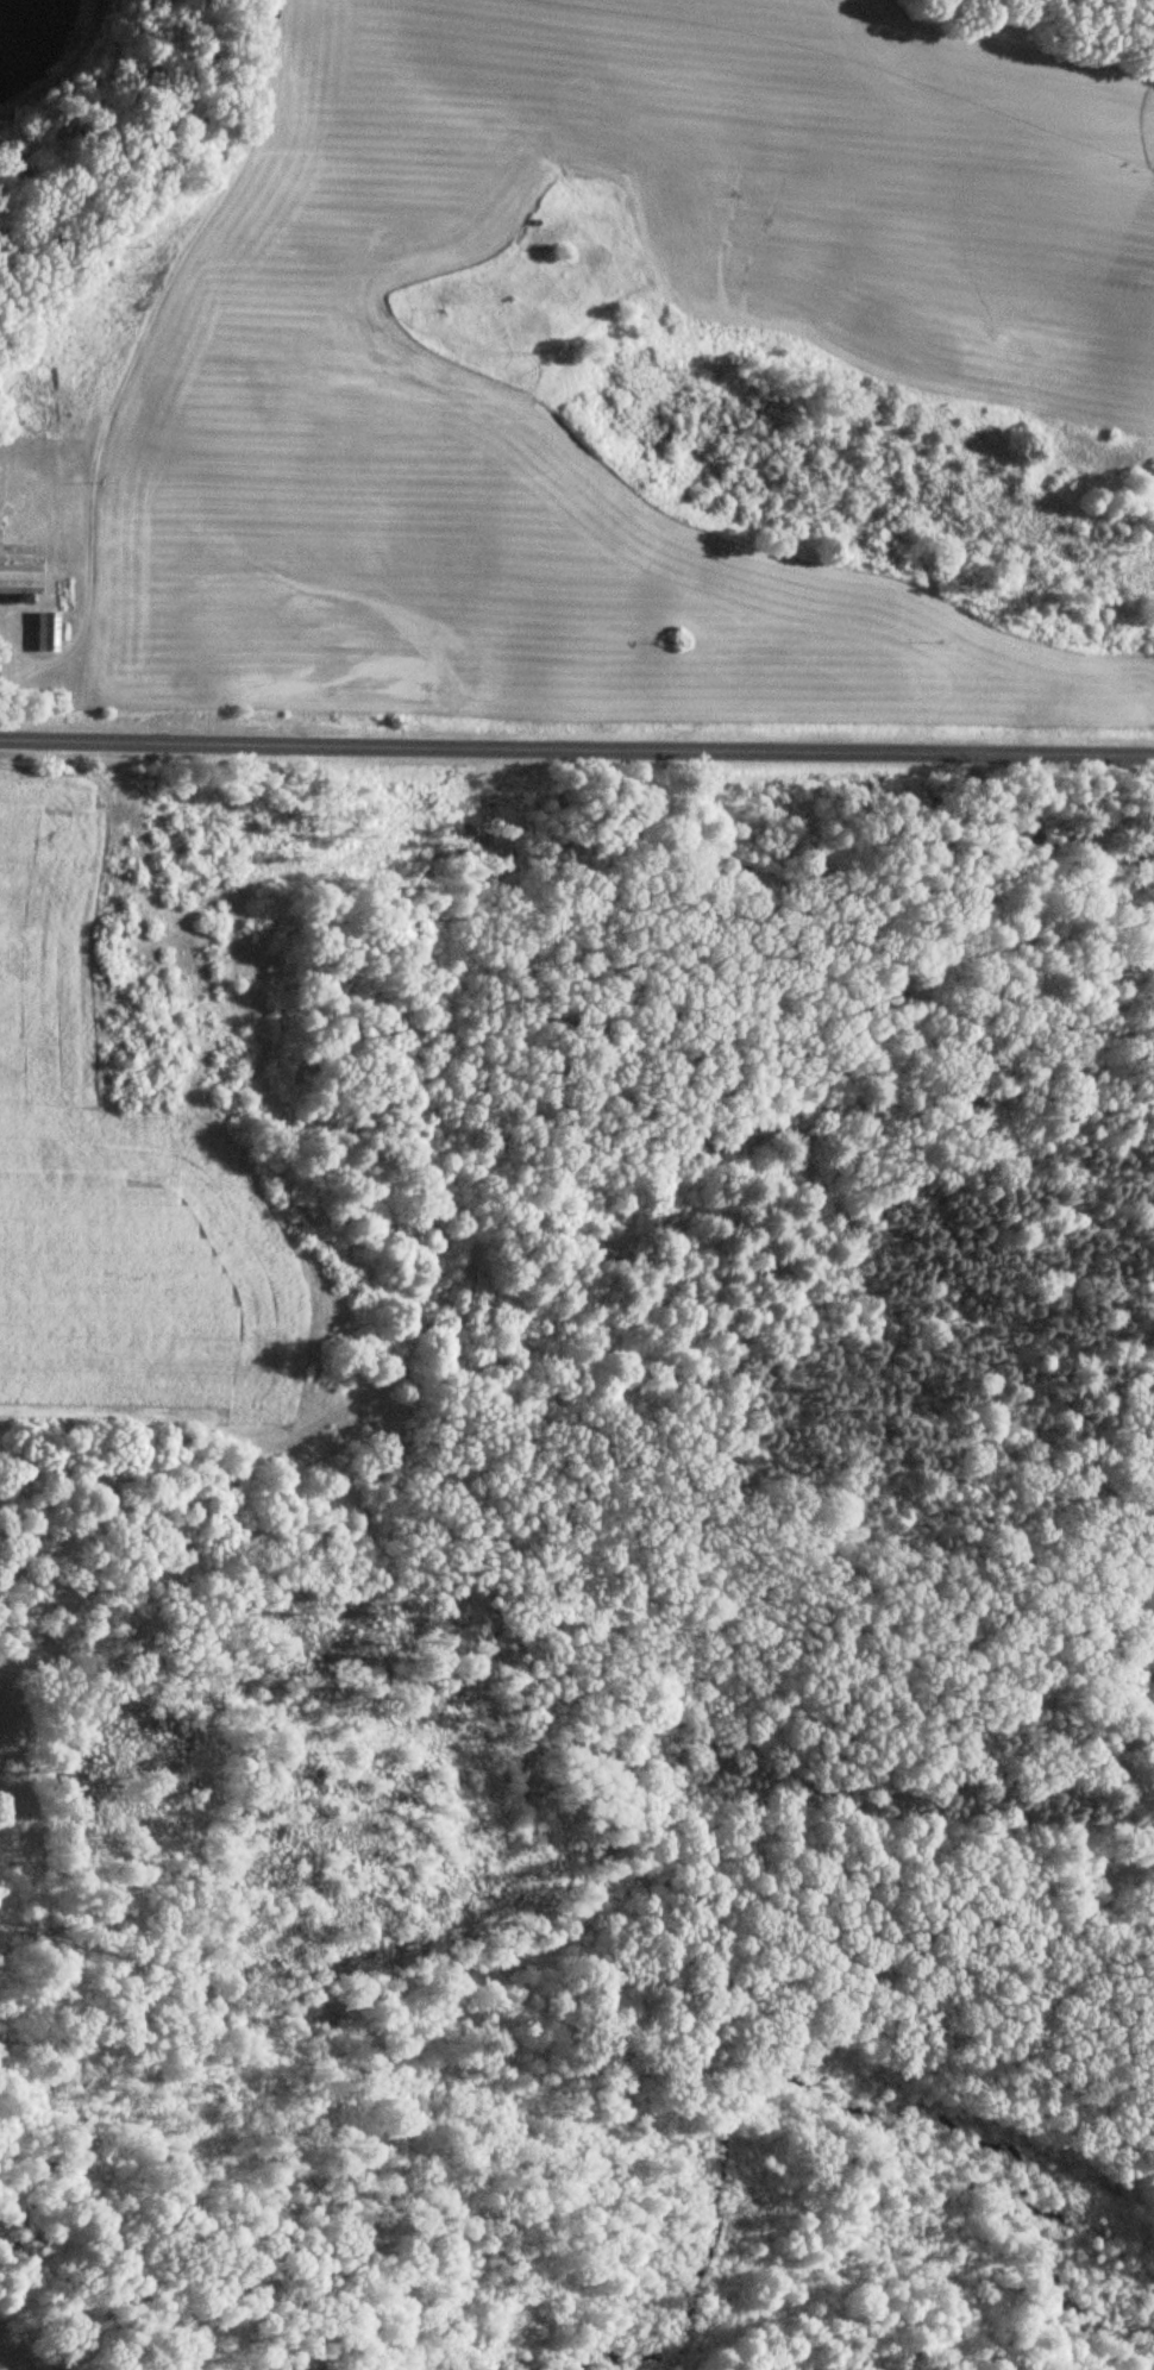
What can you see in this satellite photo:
road: (131, 363)
crop: (300, 372)
building: (14, 582)
building: (42, 634)
road: (2, 697)
road: (576, 748)

